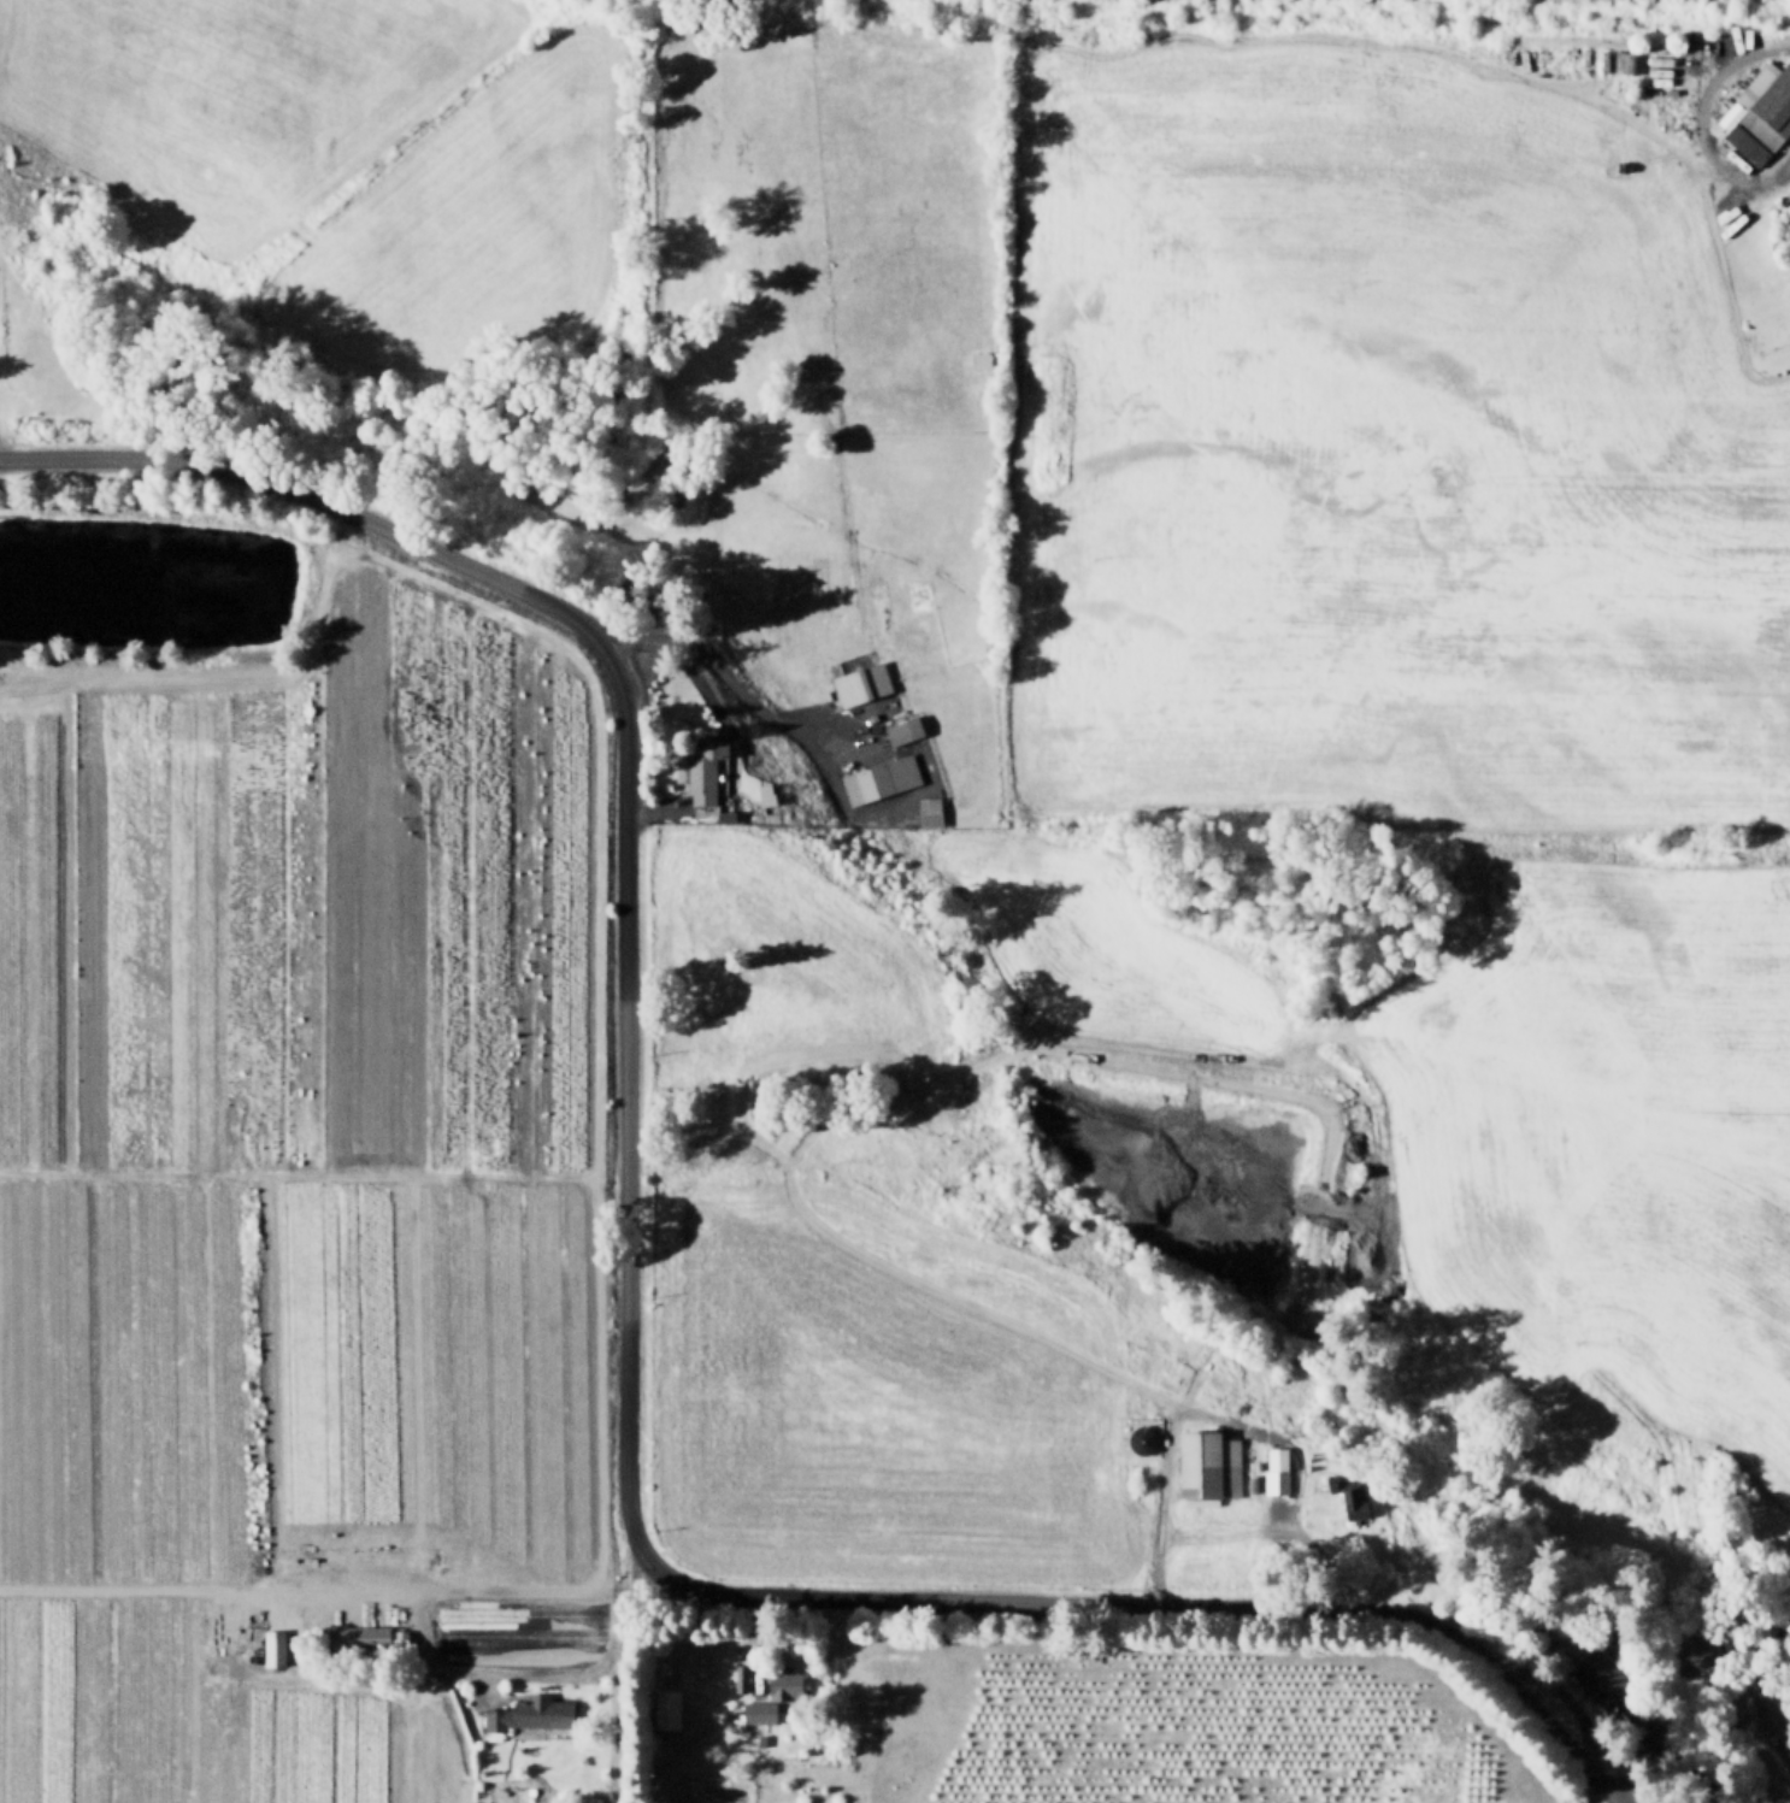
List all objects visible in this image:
building: (1624, 63)
building: (1761, 108)
road: (1698, 118)
crop: (1373, 458)
road: (724, 676)
building: (859, 683)
building: (900, 731)
building: (703, 761)
building: (864, 779)
building: (765, 788)
building: (935, 807)
building: (723, 812)
road: (906, 1086)
crop: (1596, 1153)
crop: (284, 1173)
road: (629, 1306)
building: (1177, 1371)
road: (1229, 1418)
building: (1141, 1439)
building: (1212, 1466)
building: (1280, 1473)
building: (1256, 1486)
building: (1355, 1501)
road: (319, 1591)
building: (366, 1638)
building: (277, 1651)
building: (743, 1680)
building: (1601, 1680)
road: (624, 1681)
building: (787, 1686)
building: (670, 1713)
building: (762, 1714)
building: (531, 1716)
building: (740, 1724)
crop: (1179, 1725)
building: (1590, 1802)

